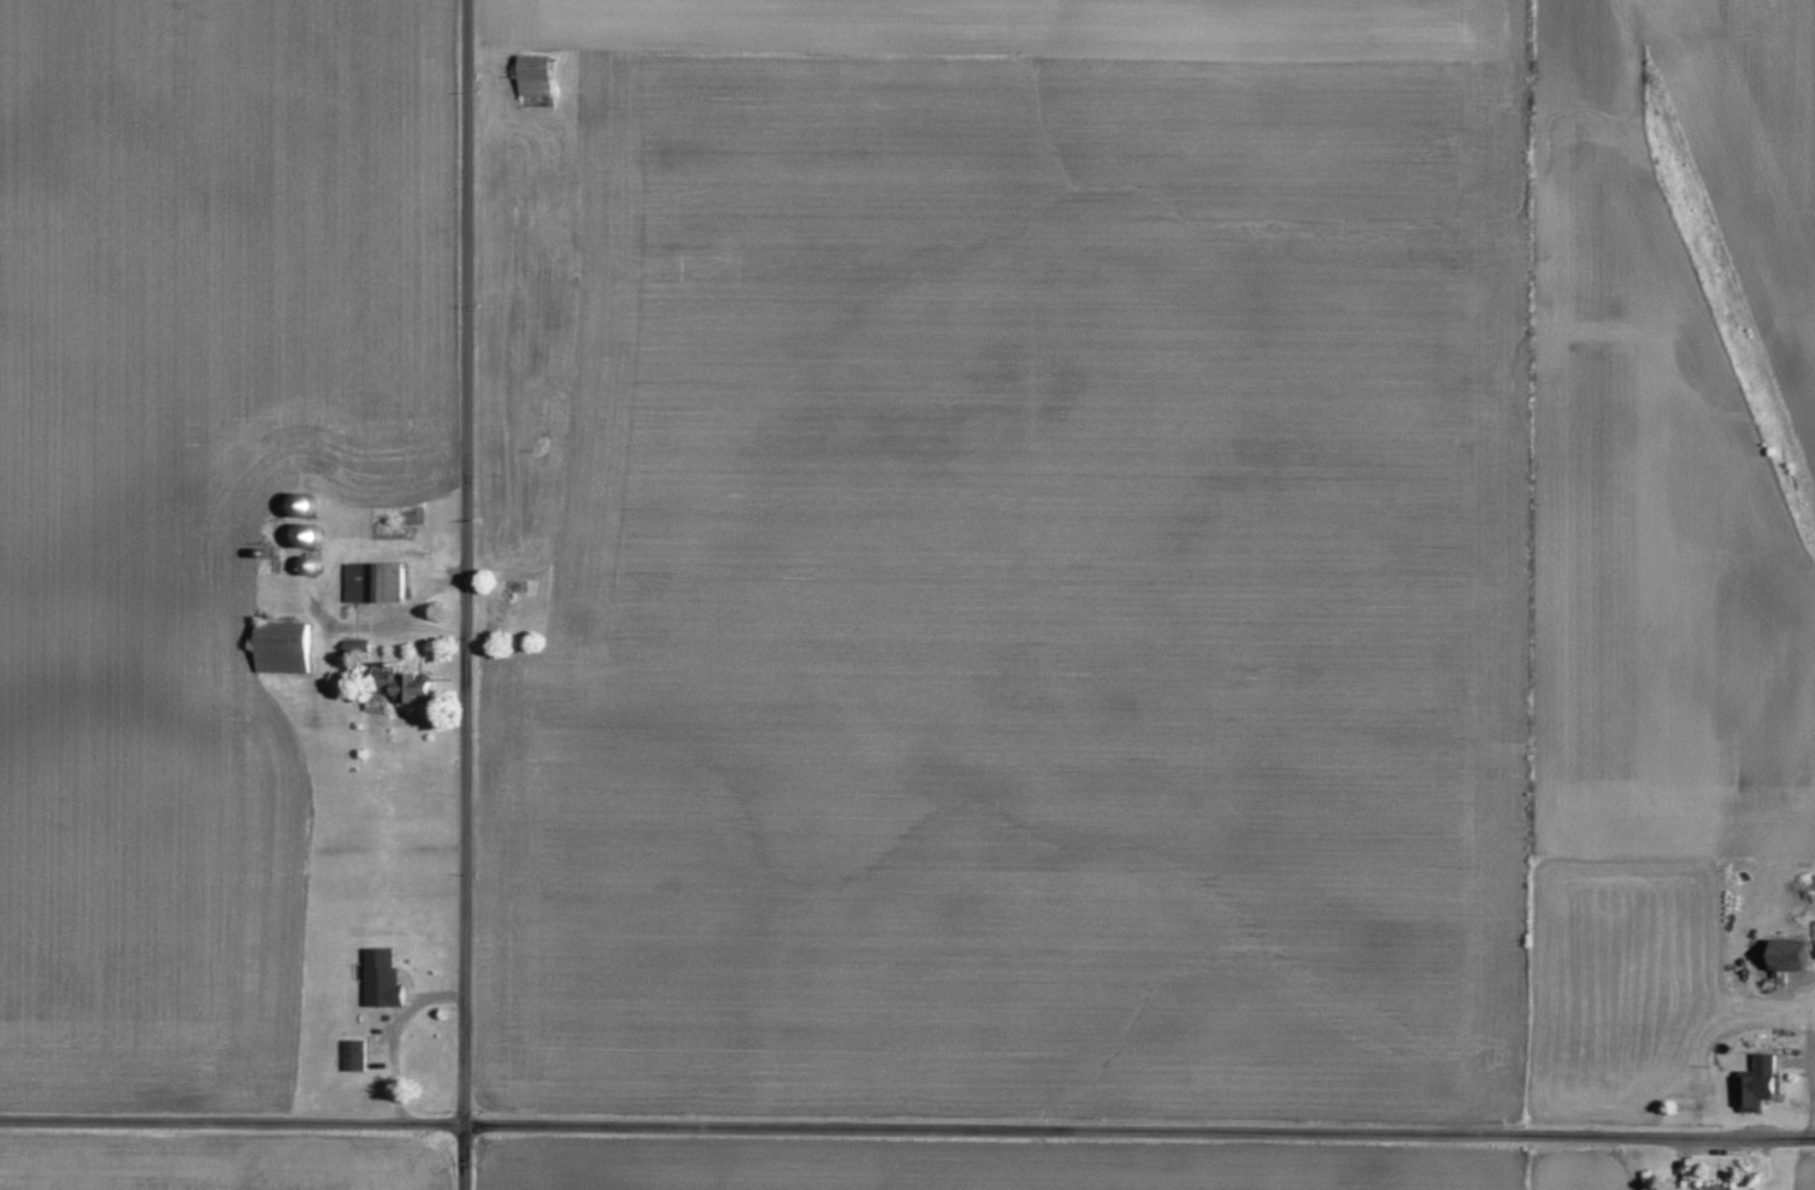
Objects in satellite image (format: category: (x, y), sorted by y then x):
building: (538, 75)
building: (377, 582)
road: (466, 595)
building: (285, 647)
building: (412, 688)
building: (1796, 961)
building: (385, 977)
building: (358, 1055)
building: (1762, 1084)
road: (907, 1126)

